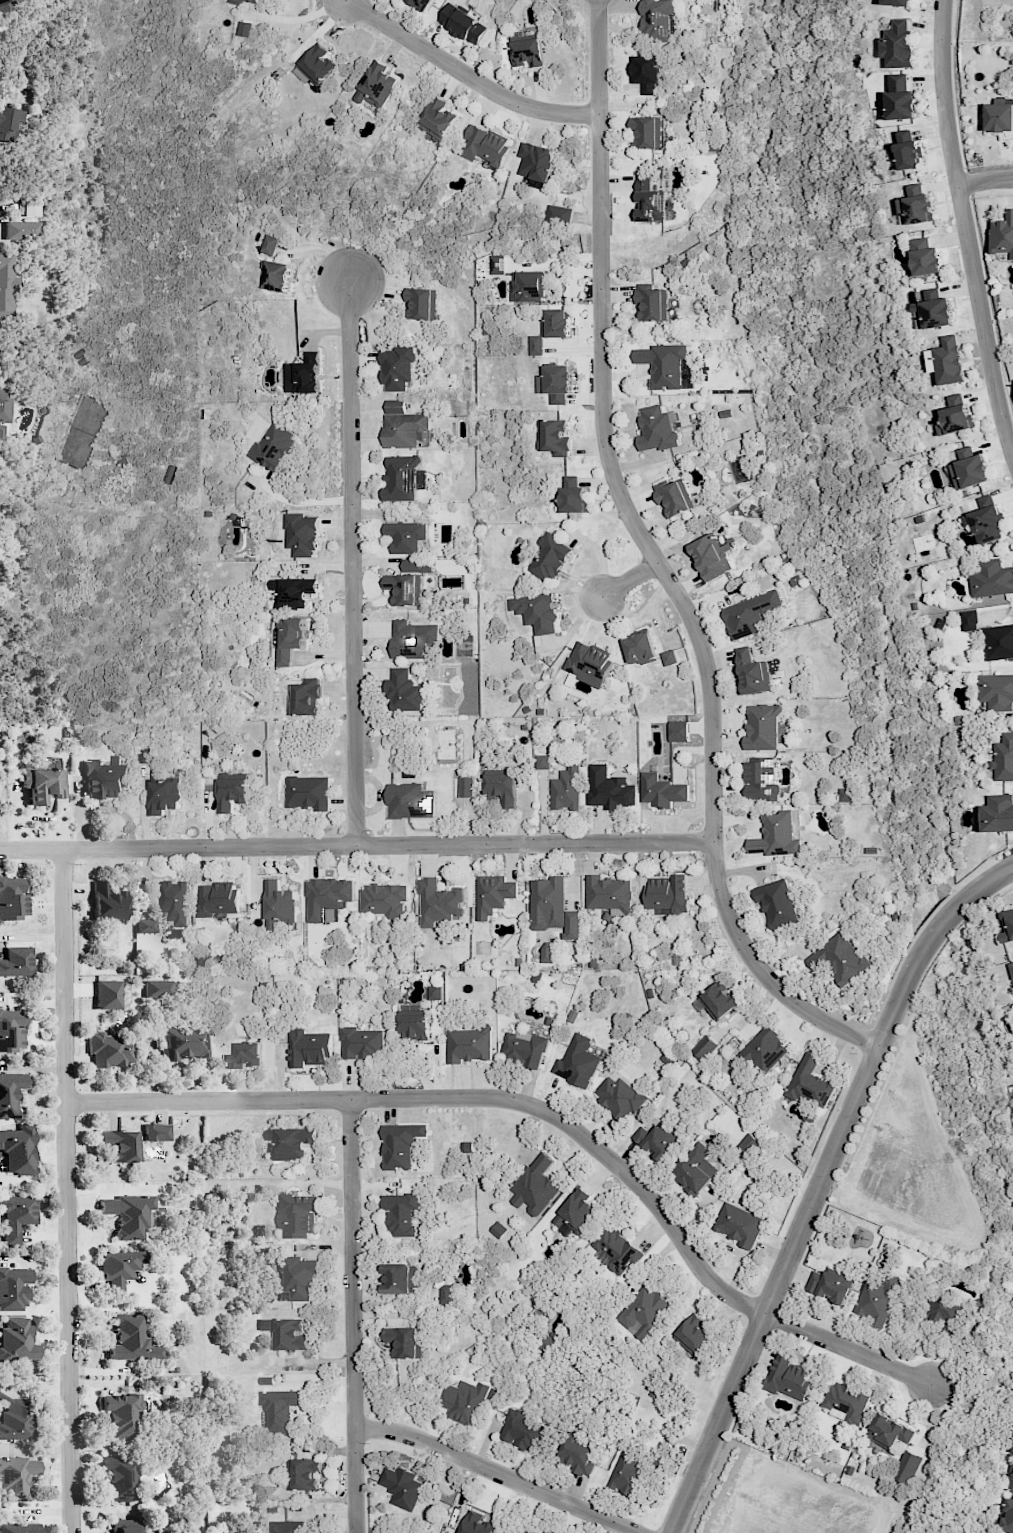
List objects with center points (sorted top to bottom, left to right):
building: (236, 1)
building: (254, 1)
building: (898, 2)
building: (8, 4)
building: (422, 4)
building: (656, 19)
building: (464, 24)
building: (244, 28)
building: (898, 45)
building: (526, 50)
building: (316, 65)
building: (646, 72)
road: (465, 75)
building: (377, 86)
building: (900, 97)
building: (1000, 117)
building: (437, 118)
building: (10, 123)
building: (647, 131)
building: (484, 145)
building: (907, 150)
building: (537, 161)
road: (984, 179)
building: (650, 200)
building: (915, 203)
building: (559, 214)
road: (964, 230)
building: (21, 231)
building: (1003, 234)
building: (269, 244)
building: (926, 257)
building: (497, 264)
building: (276, 275)
building: (7, 284)
building: (529, 286)
building: (652, 302)
building: (421, 303)
building: (933, 310)
building: (550, 329)
building: (946, 361)
building: (664, 364)
building: (397, 368)
building: (302, 374)
building: (555, 383)
building: (3, 405)
building: (955, 415)
building: (404, 427)
building: (657, 428)
building: (0, 431)
building: (553, 437)
building: (273, 446)
building: (968, 468)
building: (168, 474)
building: (402, 478)
building: (572, 495)
building: (674, 496)
building: (985, 519)
building: (301, 535)
building: (406, 536)
building: (0, 552)
building: (711, 556)
building: (549, 557)
road: (351, 561)
road: (656, 561)
building: (991, 579)
road: (628, 580)
building: (407, 585)
building: (292, 591)
building: (535, 611)
building: (750, 614)
building: (969, 620)
building: (288, 638)
building: (412, 638)
building: (999, 642)
building: (639, 647)
building: (669, 657)
building: (588, 663)
building: (752, 672)
building: (404, 690)
building: (997, 691)
building: (303, 697)
building: (762, 727)
building: (678, 731)
building: (1004, 758)
building: (541, 762)
building: (493, 768)
building: (106, 778)
building: (760, 779)
building: (42, 784)
building: (466, 786)
building: (501, 788)
building: (566, 789)
building: (609, 789)
building: (661, 790)
building: (165, 791)
building: (307, 792)
building: (231, 793)
building: (846, 794)
building: (410, 801)
building: (996, 814)
building: (775, 835)
road: (356, 844)
building: (666, 893)
building: (609, 894)
building: (493, 895)
building: (12, 898)
building: (327, 898)
building: (217, 899)
building: (384, 900)
building: (174, 901)
building: (438, 902)
building: (107, 903)
building: (547, 903)
building: (776, 903)
building: (279, 905)
building: (571, 925)
building: (1007, 925)
building: (146, 926)
building: (548, 952)
building: (840, 959)
building: (16, 962)
building: (1011, 966)
building: (159, 989)
building: (434, 992)
building: (108, 995)
building: (719, 1000)
building: (412, 1026)
building: (11, 1030)
building: (183, 1043)
building: (362, 1043)
building: (469, 1044)
building: (705, 1047)
building: (309, 1048)
building: (524, 1048)
building: (110, 1050)
building: (763, 1051)
building: (245, 1055)
building: (578, 1062)
building: (811, 1083)
building: (10, 1093)
building: (618, 1096)
road: (545, 1111)
building: (156, 1132)
building: (657, 1141)
building: (291, 1142)
building: (400, 1144)
building: (120, 1145)
building: (748, 1146)
building: (469, 1147)
building: (18, 1150)
building: (695, 1169)
road: (818, 1183)
building: (535, 1185)
road: (68, 1191)
building: (576, 1211)
building: (400, 1213)
building: (128, 1214)
building: (17, 1215)
building: (297, 1215)
building: (739, 1225)
building: (498, 1229)
building: (616, 1249)
building: (119, 1267)
building: (302, 1278)
building: (400, 1278)
building: (831, 1285)
building: (13, 1288)
building: (445, 1293)
building: (879, 1300)
building: (642, 1310)
building: (945, 1312)
road: (352, 1315)
building: (286, 1333)
building: (693, 1334)
building: (132, 1340)
building: (17, 1341)
building: (405, 1341)
building: (789, 1378)
building: (464, 1401)
building: (845, 1402)
building: (282, 1409)
building: (122, 1413)
building: (15, 1419)
building: (521, 1430)
building: (888, 1431)
building: (577, 1456)
building: (907, 1467)
building: (627, 1471)
road: (496, 1472)
building: (303, 1473)
building: (16, 1478)
building: (120, 1478)
building: (1011, 1485)
building: (402, 1487)
building: (1006, 1517)
building: (477, 1524)
building: (125, 1526)
building: (286, 1526)
building: (19, 1528)
building: (524, 1530)
building: (547, 1531)

